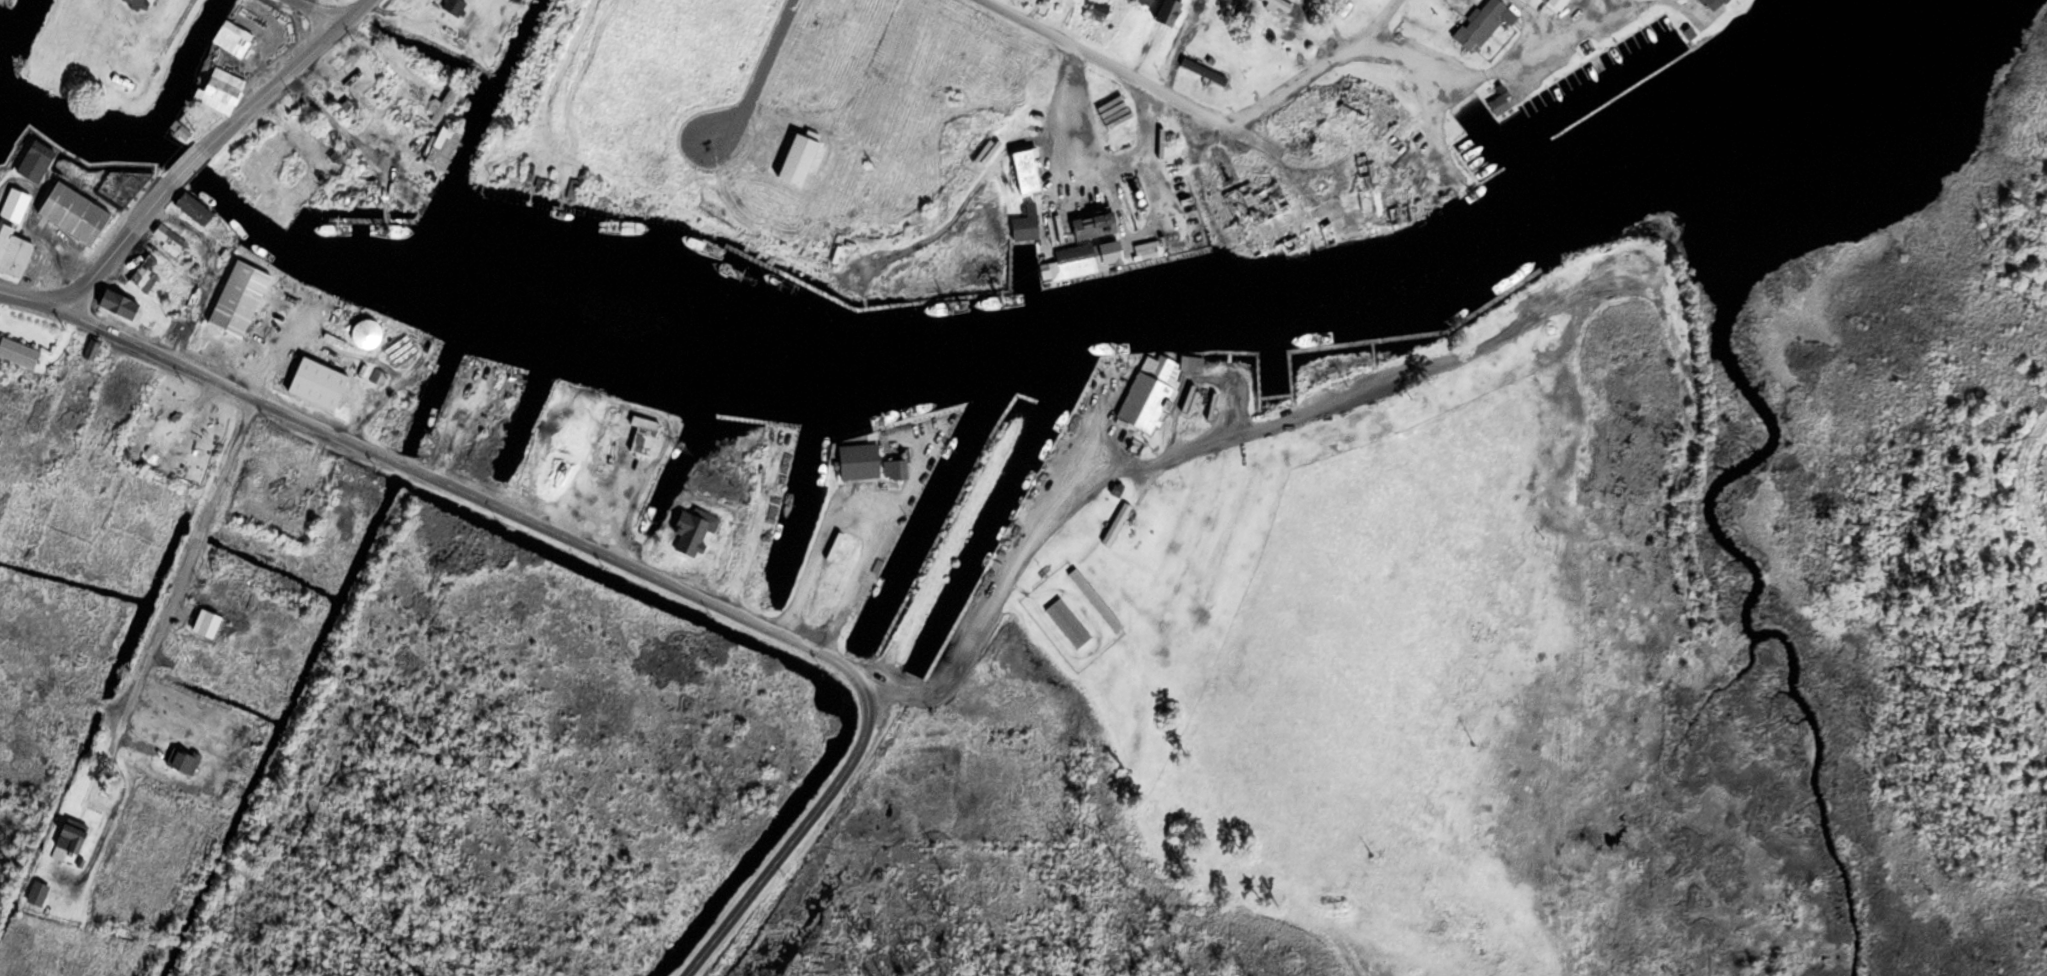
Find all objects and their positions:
building: (1145, 1)
building: (138, 3)
building: (1711, 4)
building: (1278, 5)
building: (455, 6)
building: (1545, 6)
building: (1196, 9)
building: (1167, 11)
building: (1432, 12)
road: (312, 13)
road: (351, 15)
road: (1387, 24)
building: (1480, 24)
road: (1334, 25)
building: (232, 38)
road: (1073, 50)
road: (1383, 50)
building: (1203, 70)
road: (760, 76)
building: (225, 80)
road: (268, 90)
building: (443, 104)
building: (1498, 104)
building: (347, 109)
building: (338, 155)
road: (187, 163)
road: (1082, 163)
building: (1025, 171)
building: (122, 184)
building: (1366, 197)
building: (193, 208)
building: (73, 213)
building: (1399, 215)
building: (1272, 222)
building: (1025, 223)
building: (1094, 226)
building: (13, 235)
building: (168, 239)
building: (1084, 257)
road: (99, 265)
building: (144, 274)
building: (118, 303)
building: (365, 333)
building: (399, 347)
building: (91, 349)
building: (18, 352)
building: (378, 376)
building: (317, 382)
building: (1153, 390)
building: (639, 427)
building: (857, 461)
building: (894, 469)
road: (459, 493)
building: (1116, 523)
building: (694, 533)
road: (184, 569)
building: (1094, 598)
building: (1067, 622)
building: (207, 624)
road: (950, 666)
building: (182, 759)
road: (795, 834)
building: (69, 837)

